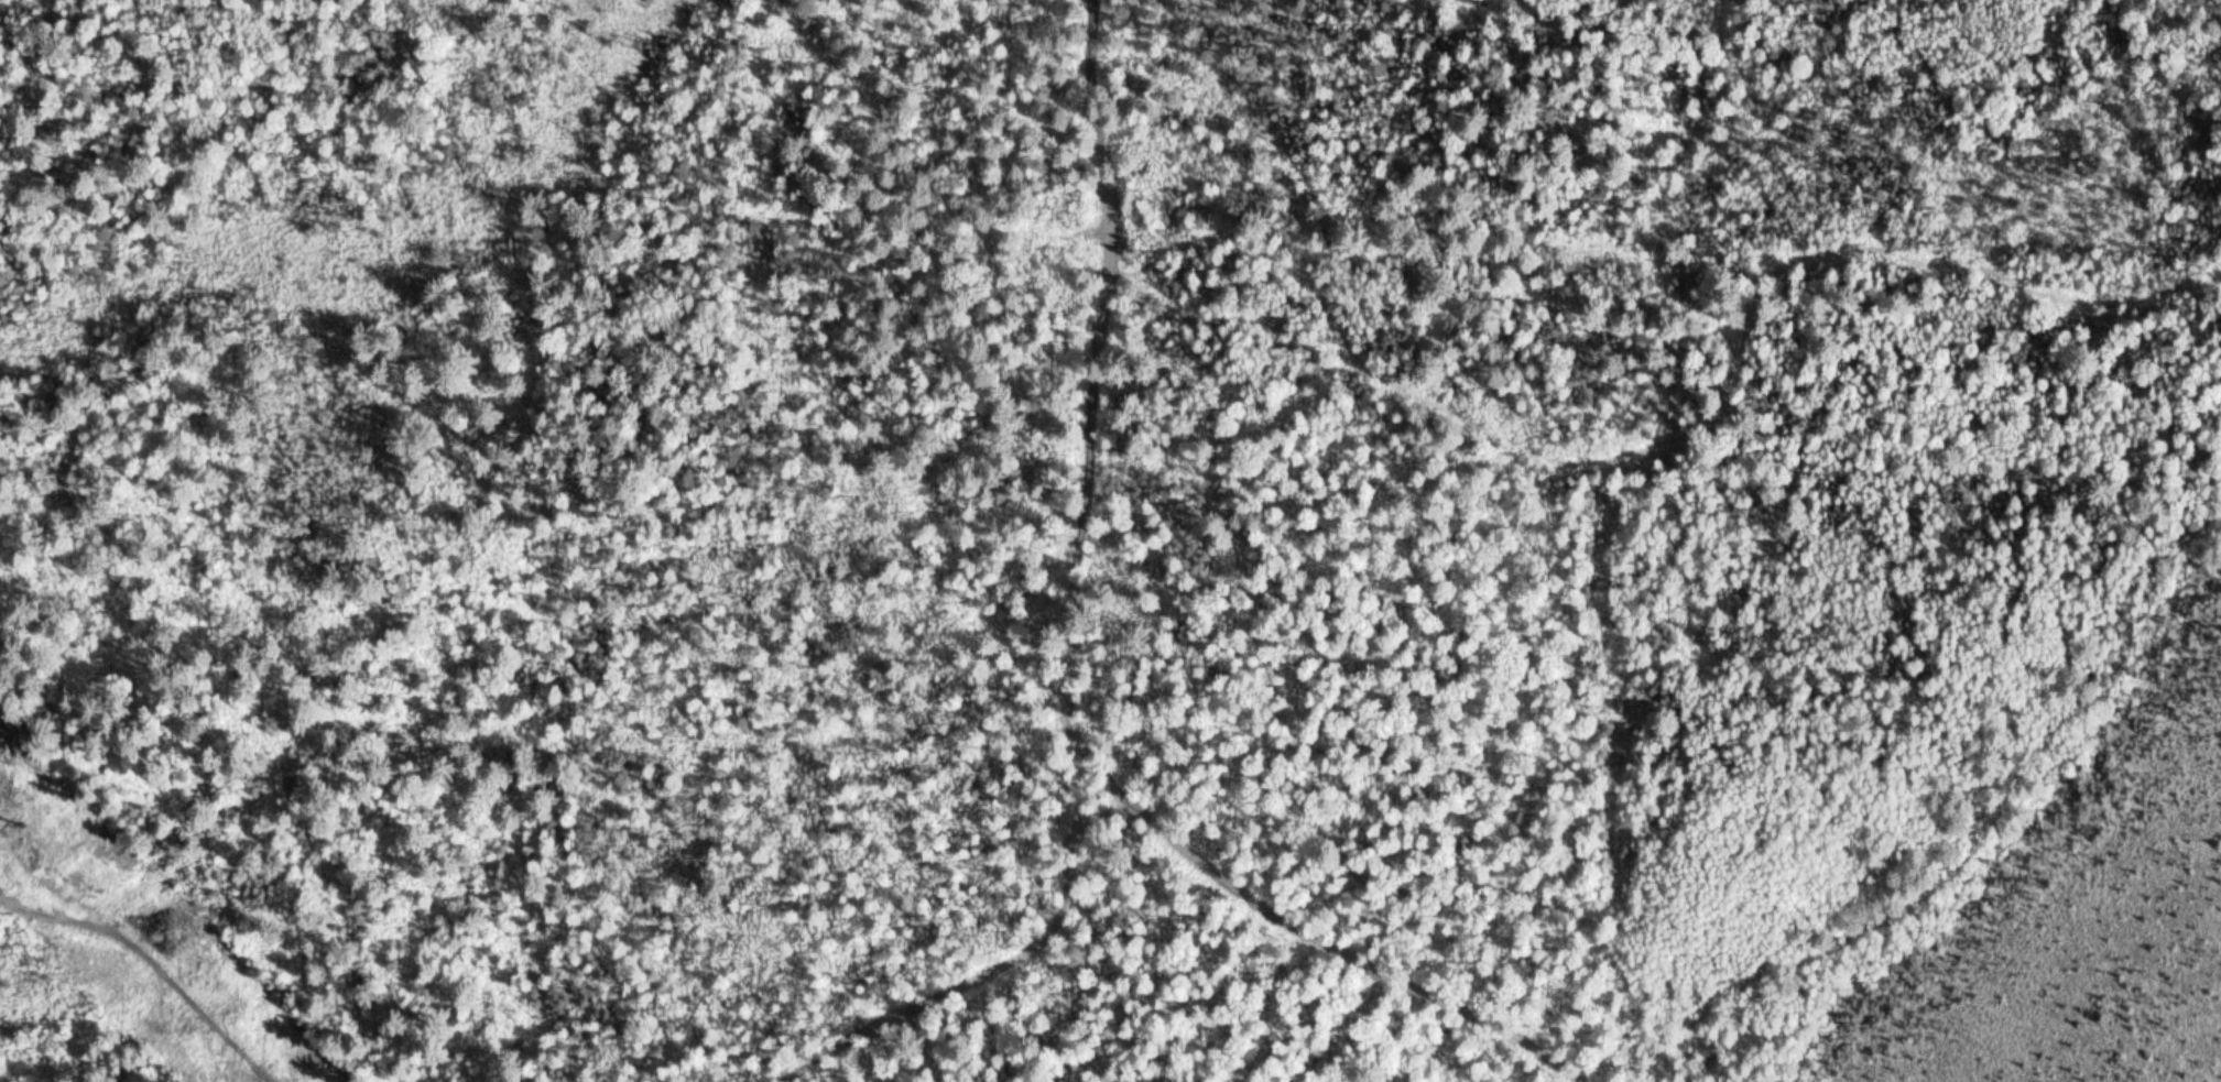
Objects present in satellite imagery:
road: (1078, 675)
power tower: (28, 823)
road: (163, 909)
road: (1034, 951)

